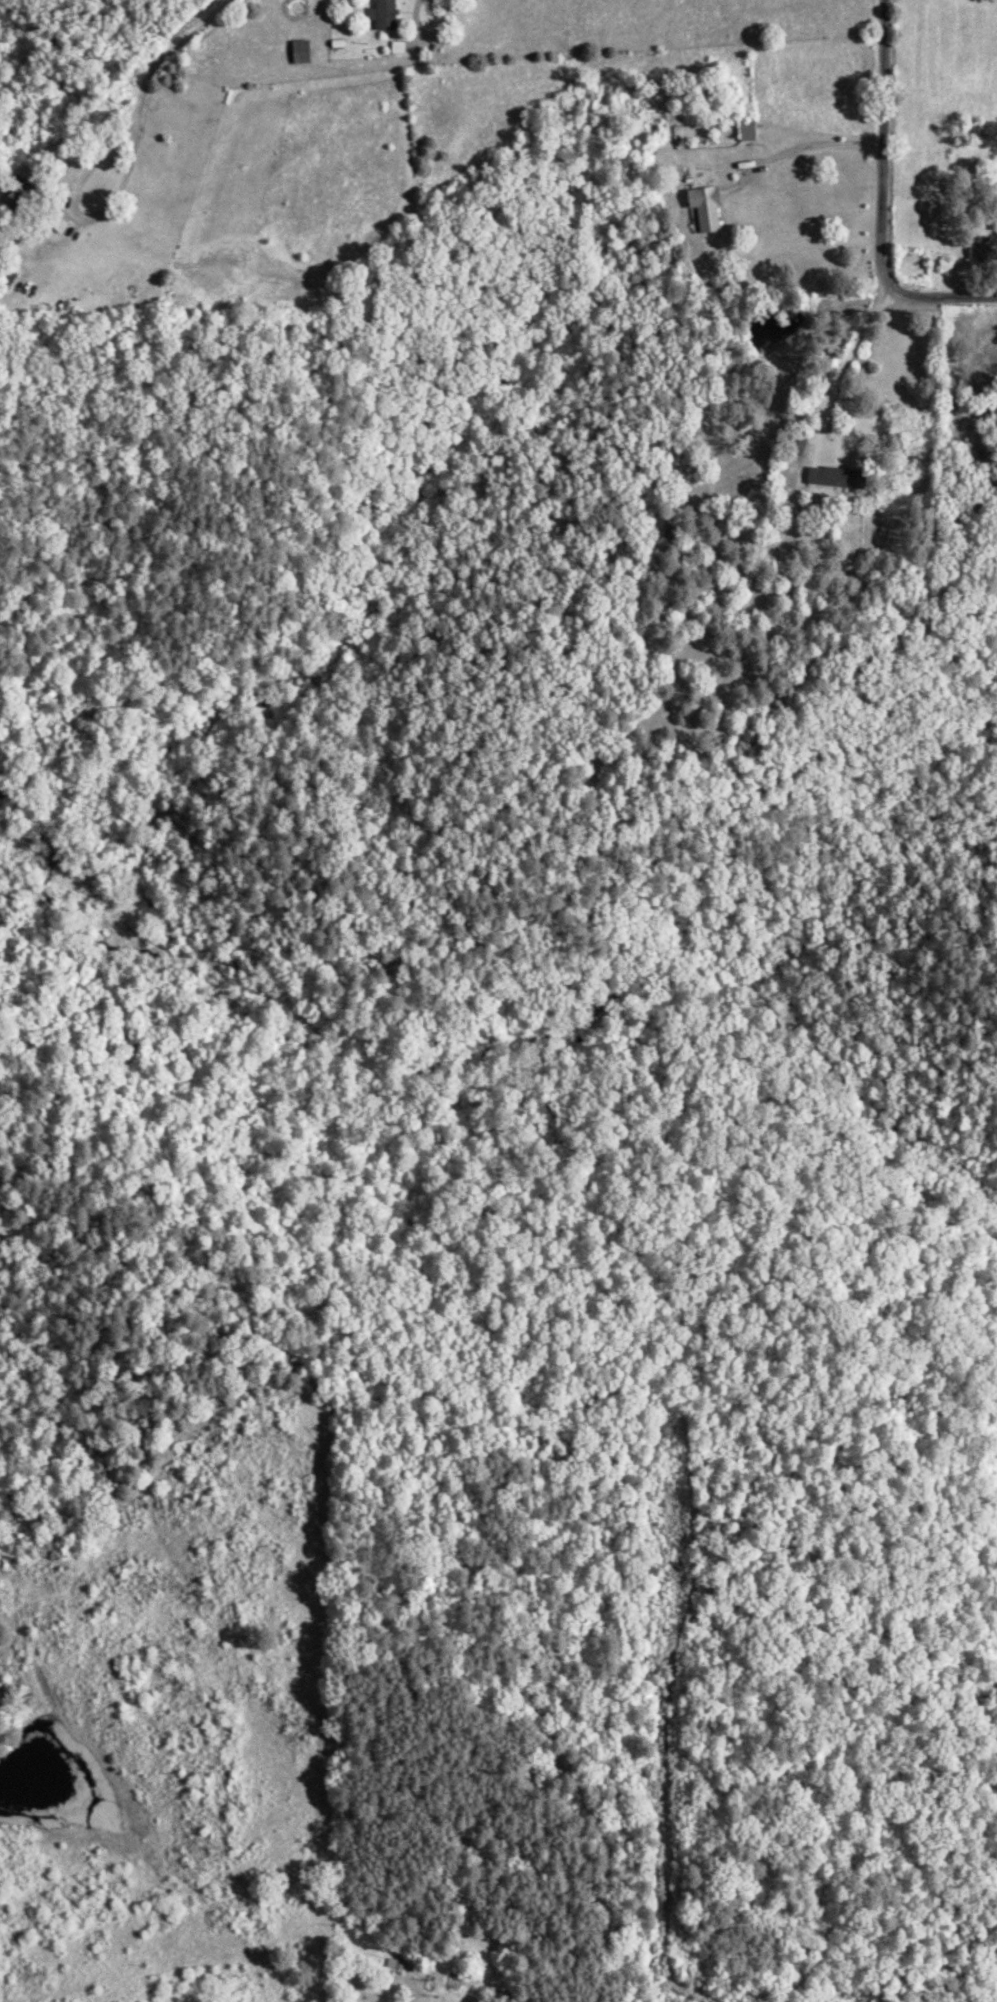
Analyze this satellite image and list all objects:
building: (389, 14)
road: (426, 32)
building: (402, 47)
road: (169, 51)
road: (811, 143)
road: (70, 198)
road: (879, 200)
building: (712, 207)
road: (838, 367)
building: (842, 477)

